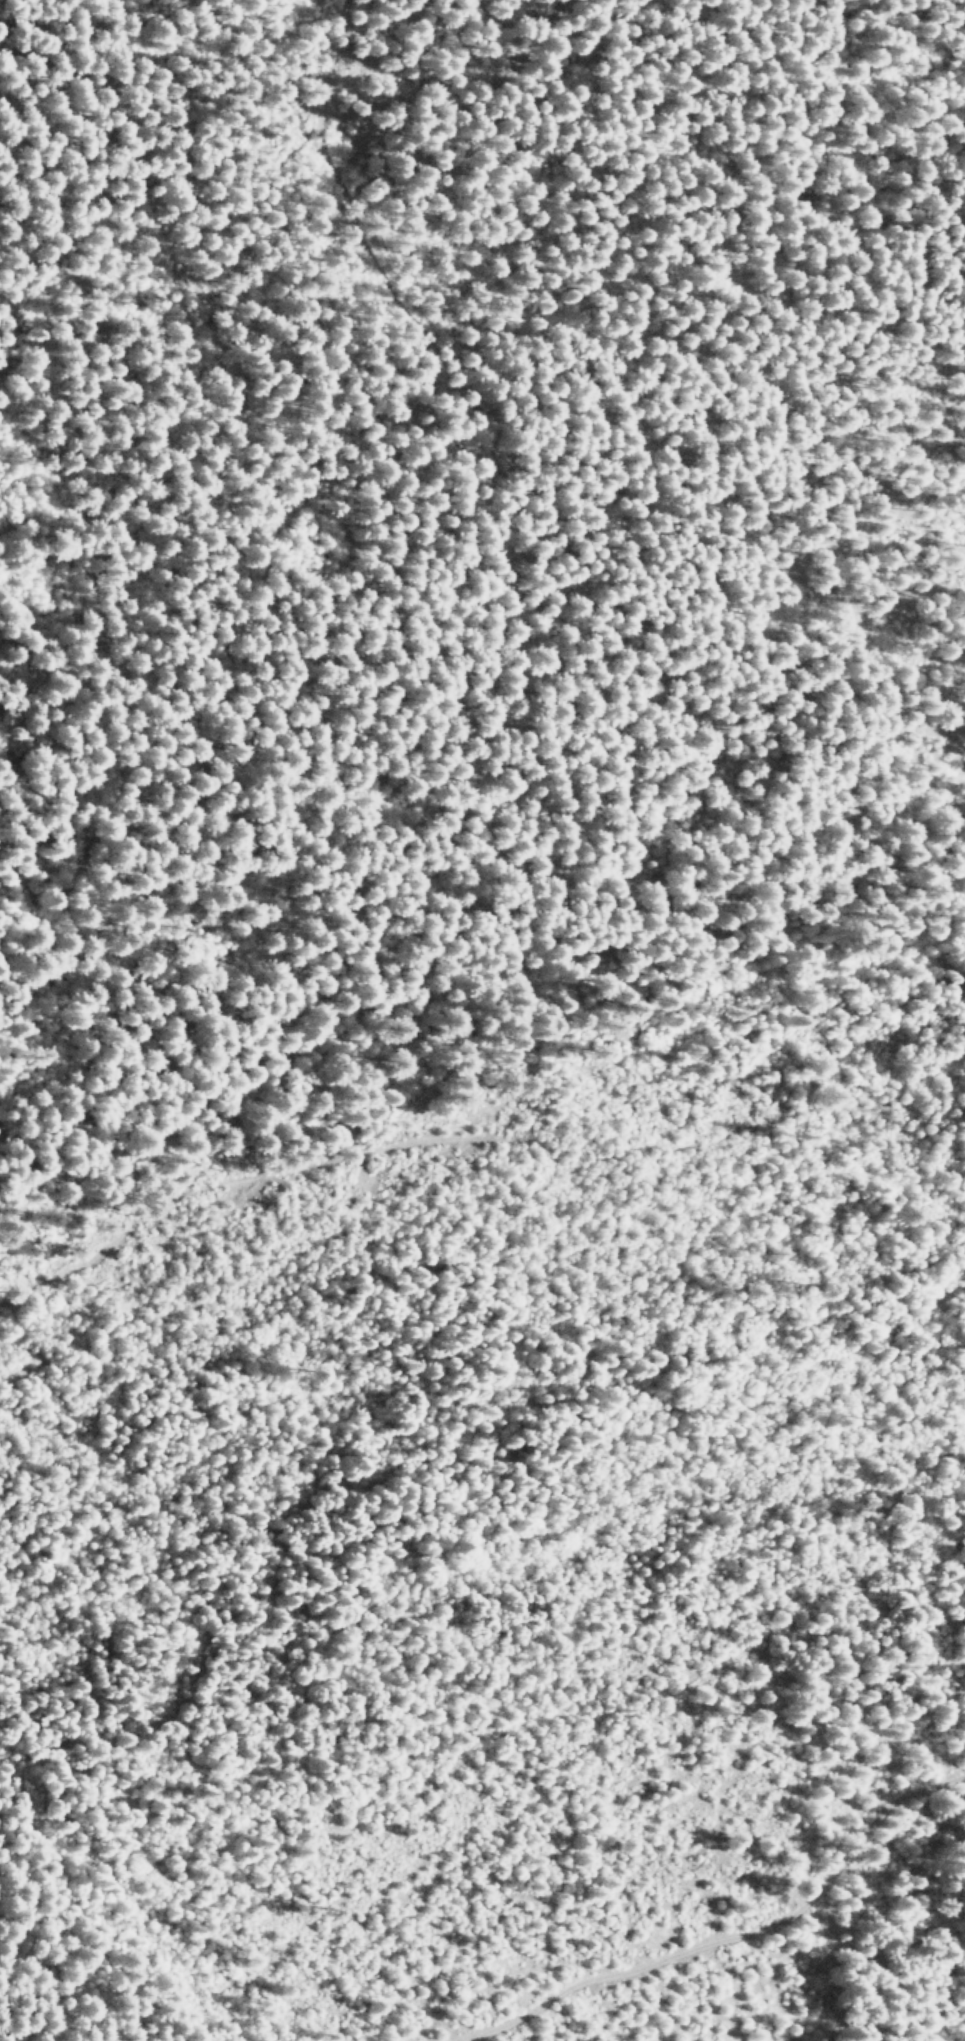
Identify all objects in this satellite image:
road: (194, 53)
road: (324, 121)
road: (736, 1939)

